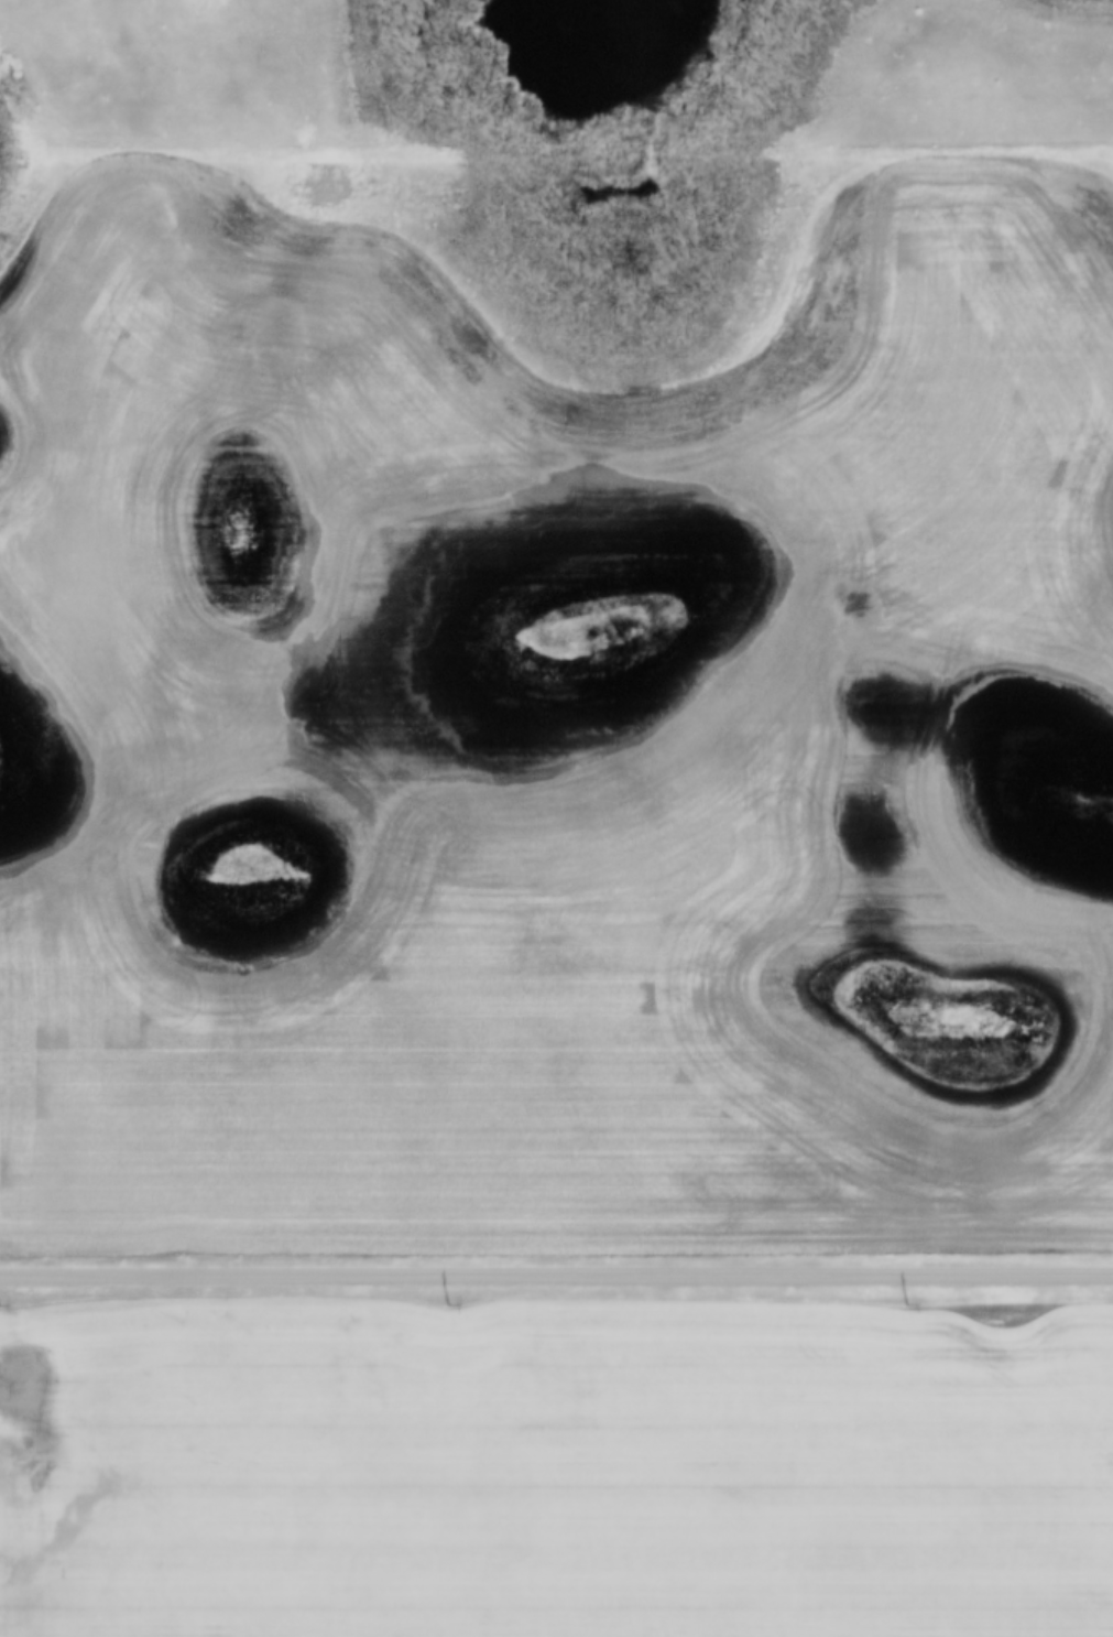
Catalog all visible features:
road: (556, 1275)
power tower: (907, 1302)
power tower: (2, 1305)
power tower: (449, 1305)

